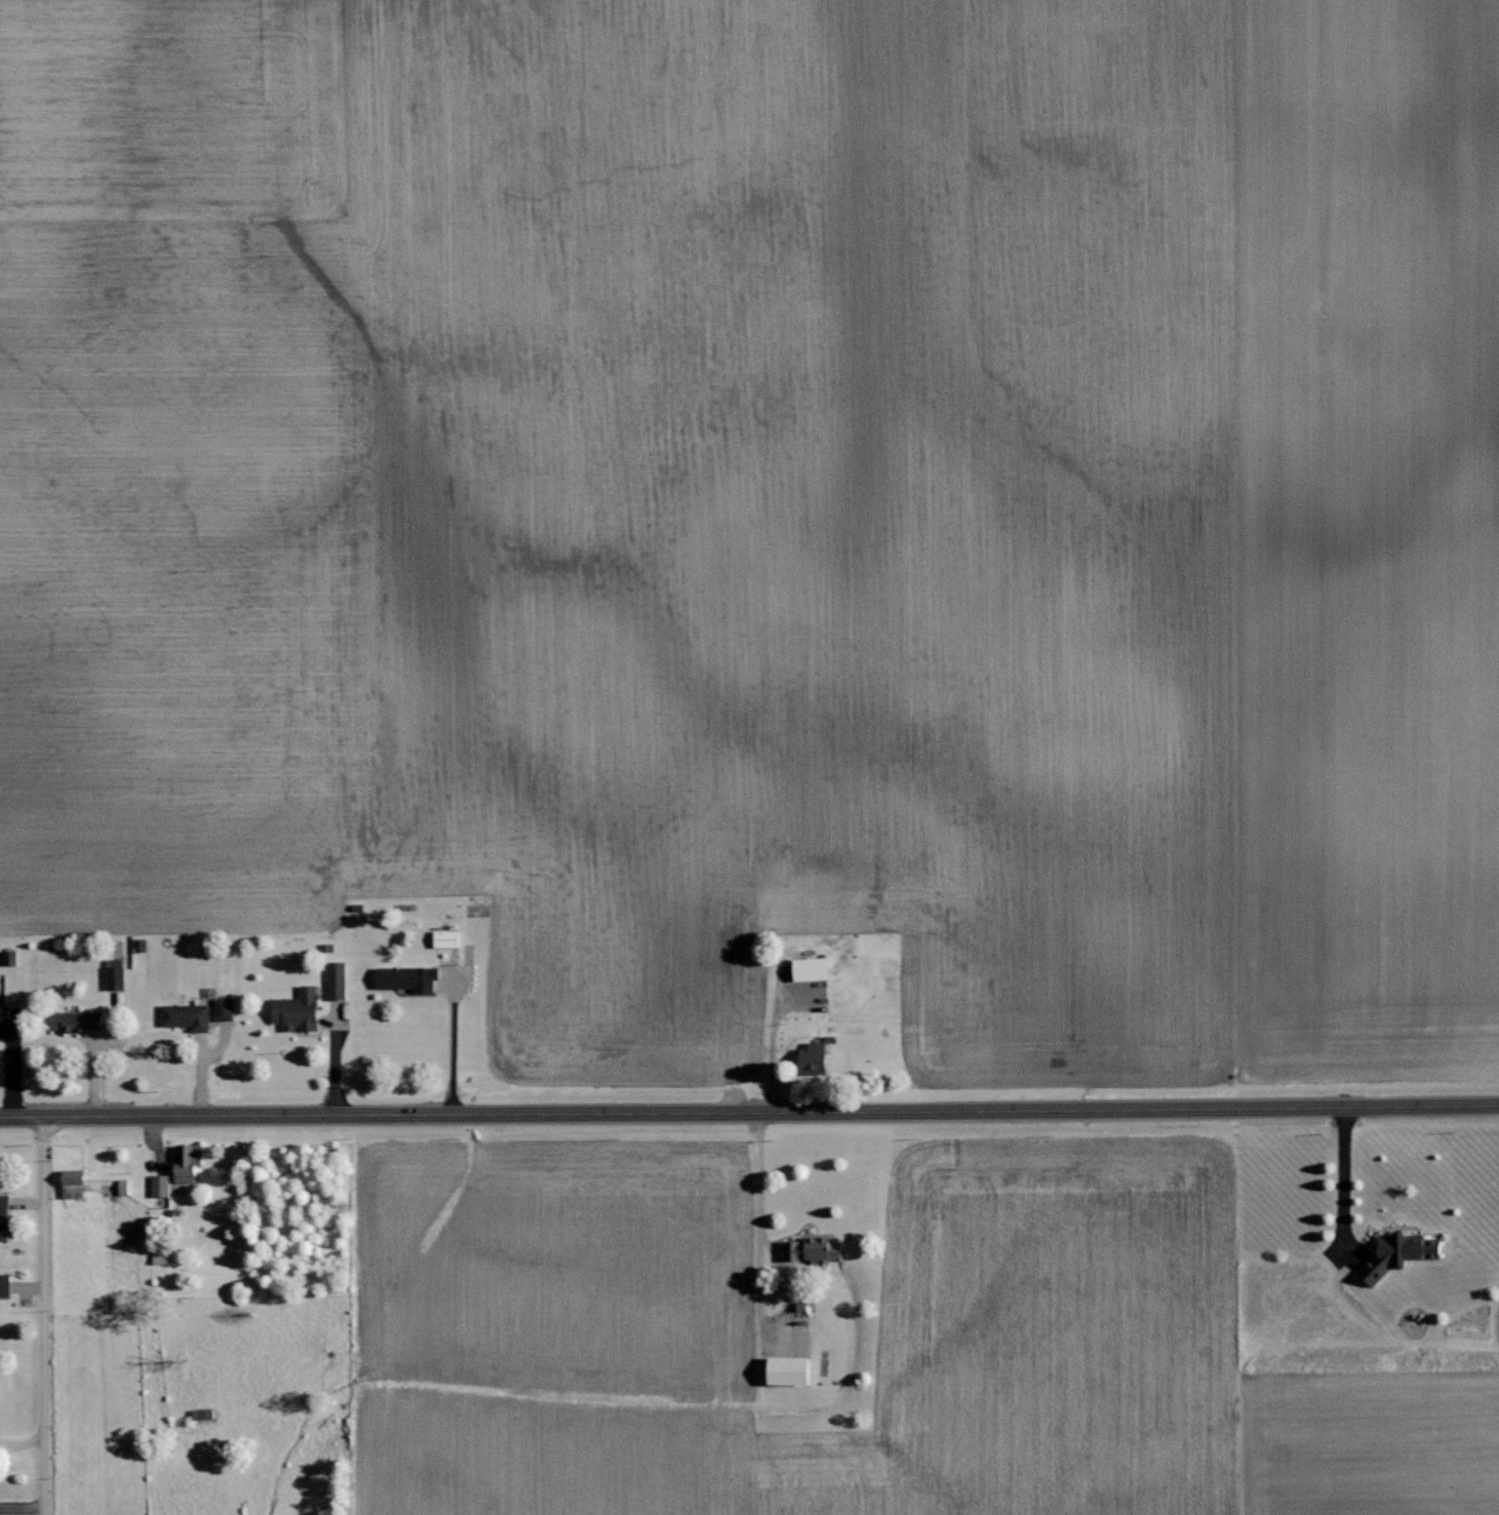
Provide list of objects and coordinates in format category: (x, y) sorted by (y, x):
building: (448, 938)
building: (141, 944)
building: (10, 957)
building: (814, 968)
building: (116, 973)
building: (410, 978)
building: (338, 980)
building: (225, 1008)
building: (300, 1010)
building: (188, 1016)
building: (79, 1021)
road: (451, 1038)
building: (818, 1058)
road: (749, 1110)
building: (189, 1162)
road: (759, 1170)
road: (1341, 1181)
building: (76, 1183)
building: (161, 1185)
building: (125, 1186)
building: (5, 1212)
building: (815, 1250)
building: (1401, 1254)
building: (164, 1256)
road: (757, 1282)
building: (5, 1285)
road: (41, 1314)
road: (762, 1320)
building: (791, 1371)
airport runway: (1396, 1447)

